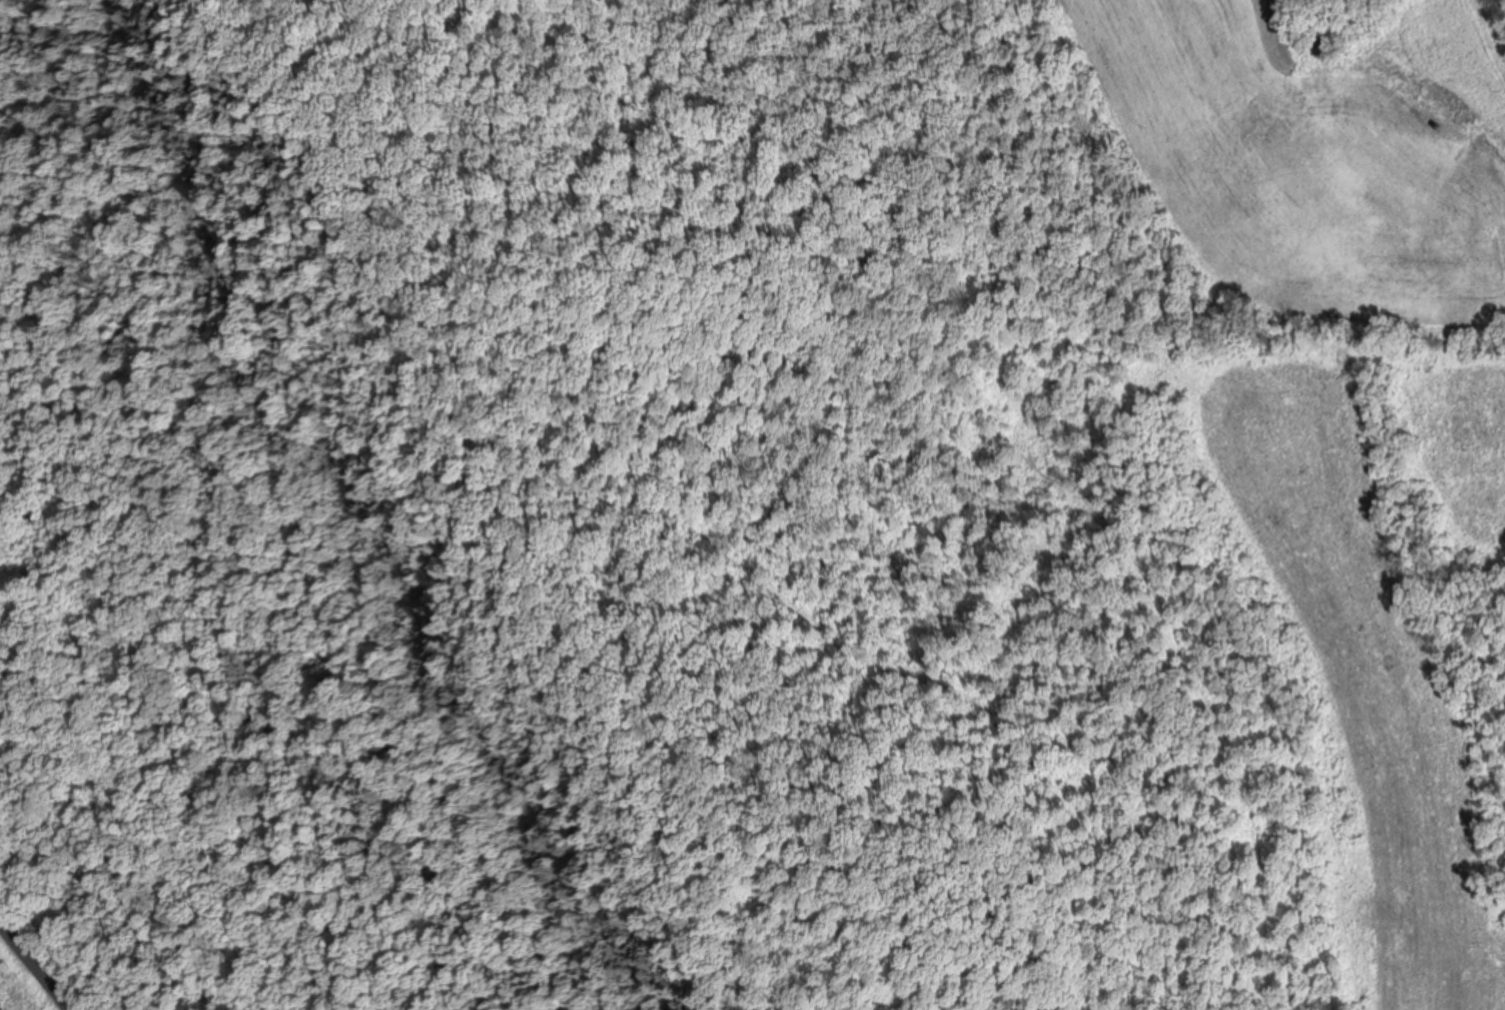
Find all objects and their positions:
road: (35, 966)

